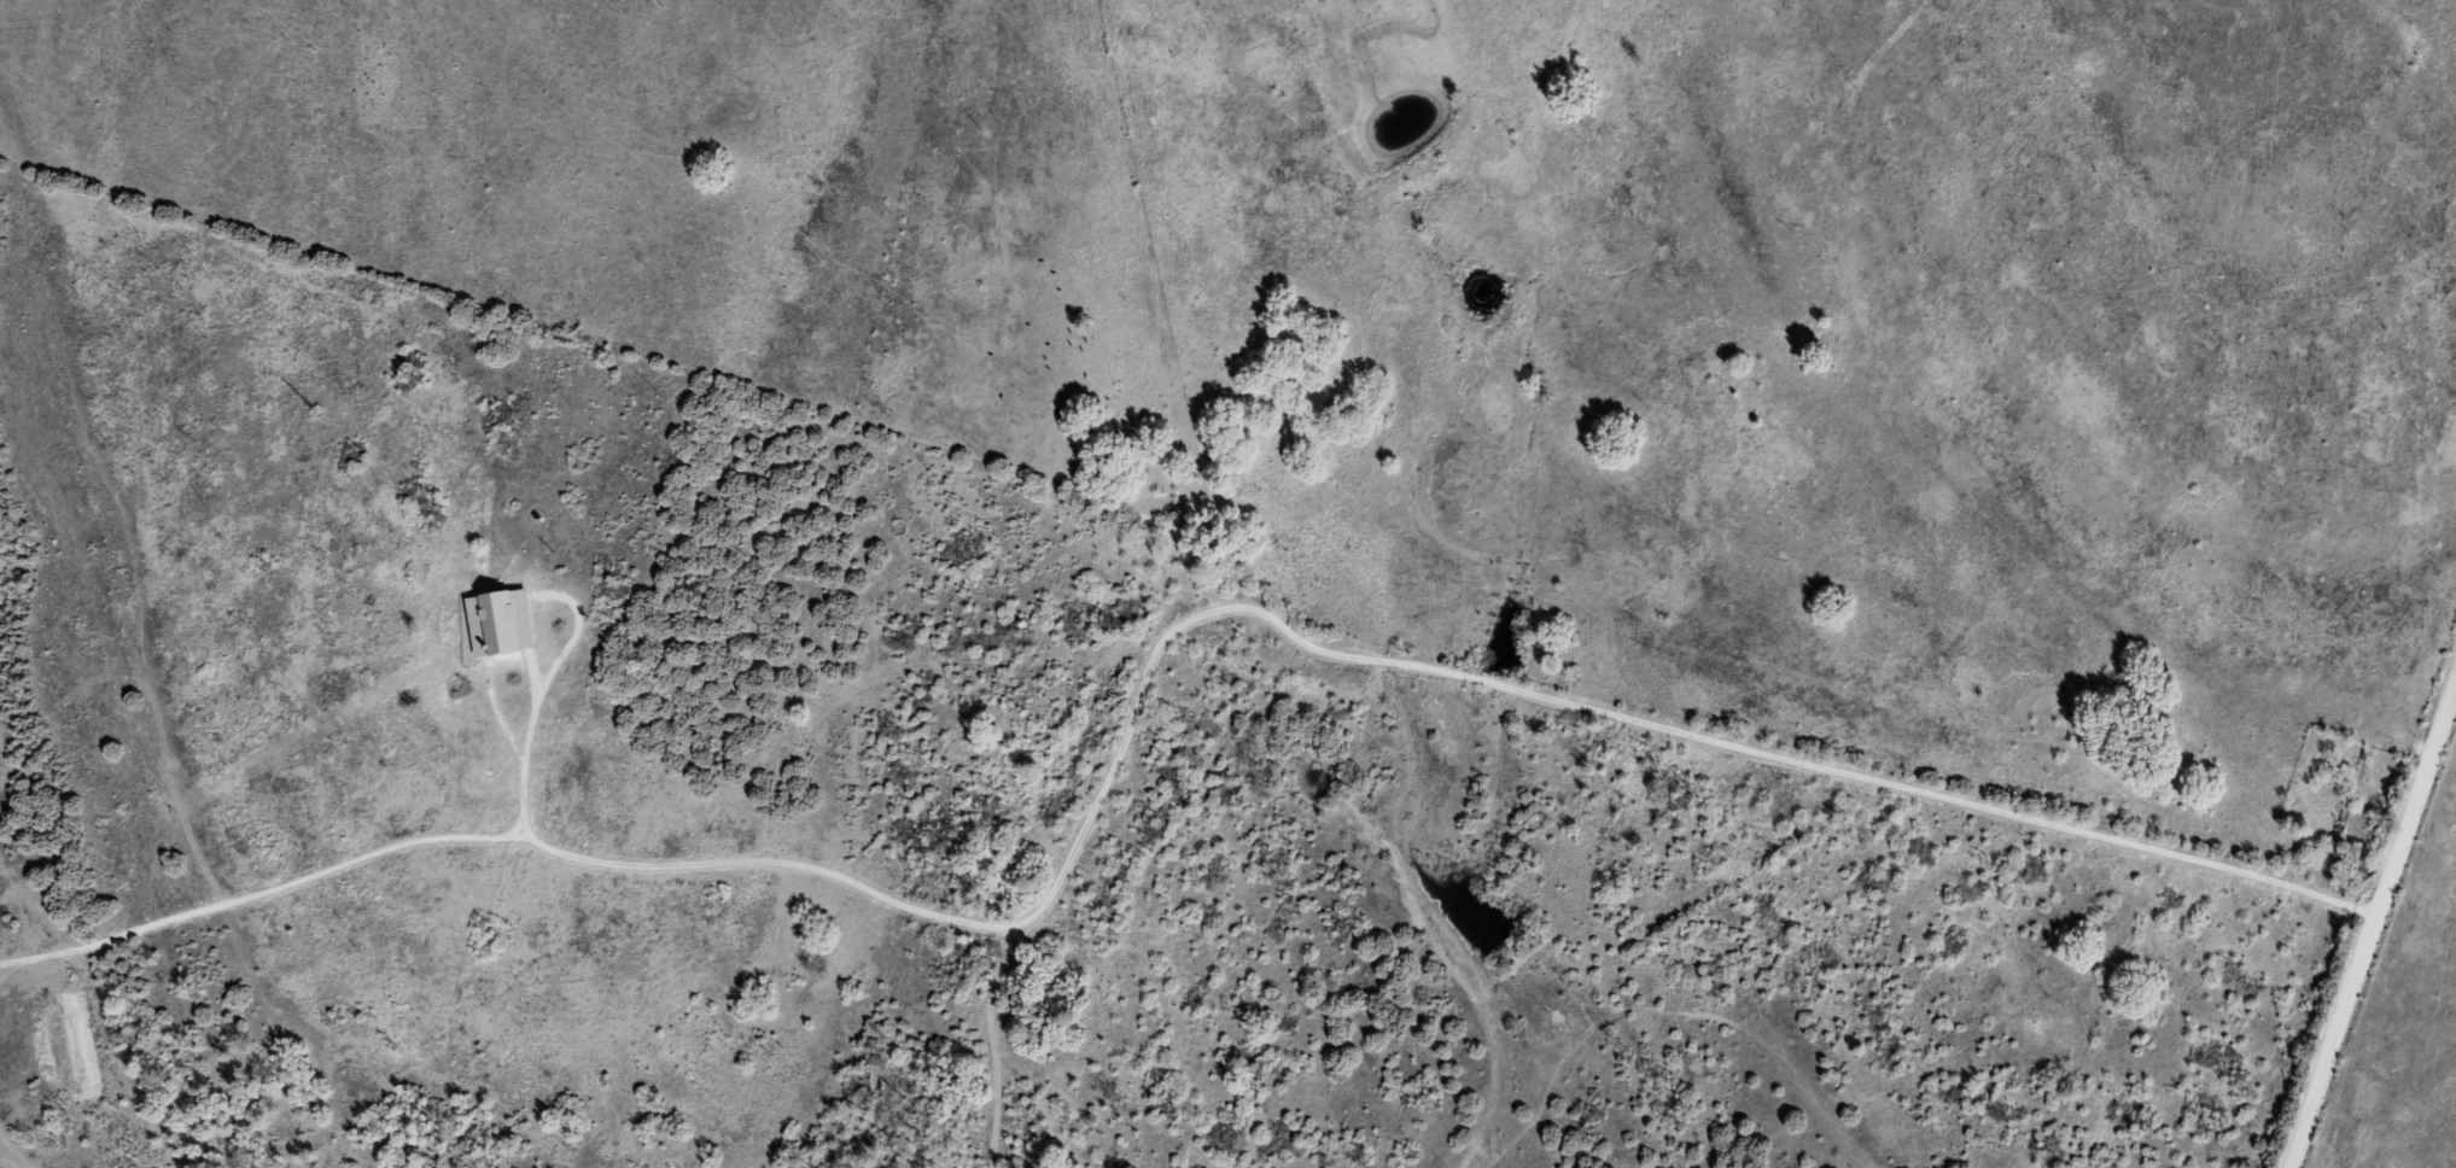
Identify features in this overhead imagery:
power tower: (659, 0)
power tower: (316, 410)
road: (1760, 766)
road: (2363, 918)

